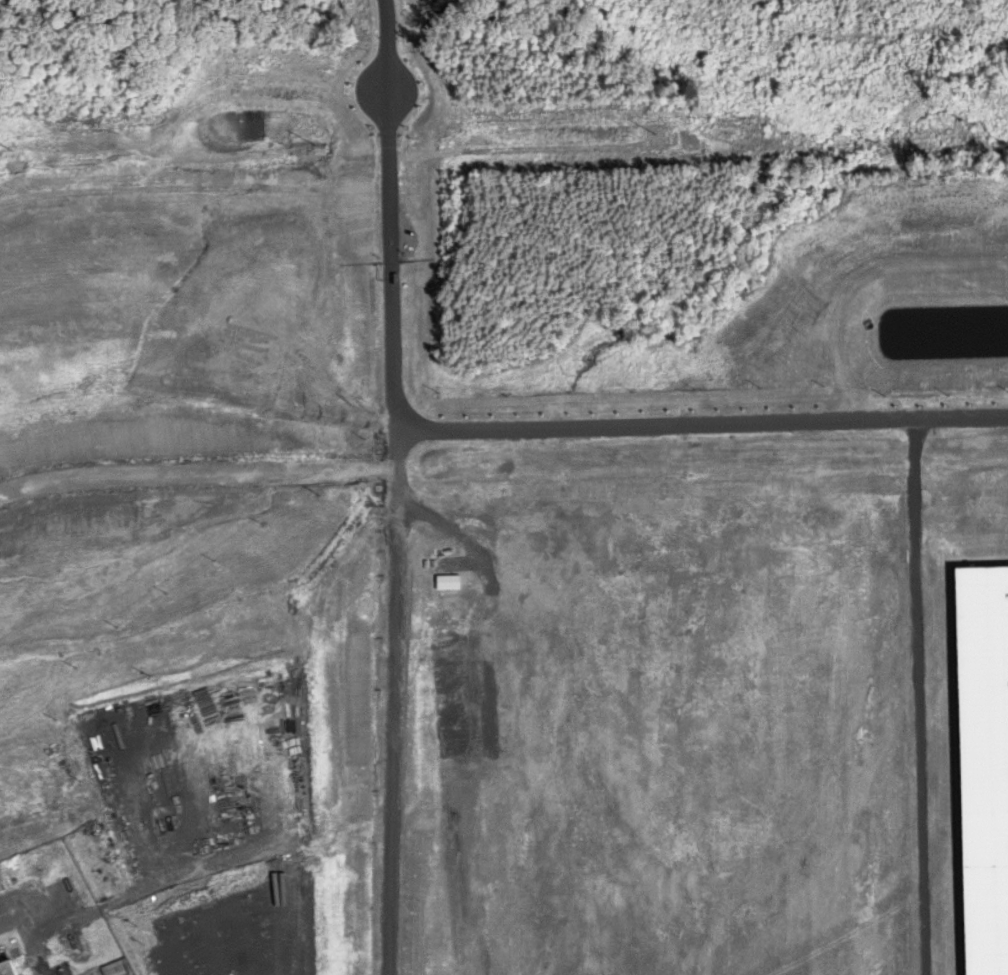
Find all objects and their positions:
road: (398, 72)
road: (397, 420)
road: (703, 424)
road: (141, 709)
road: (229, 741)
road: (204, 810)
road: (174, 878)
road: (242, 905)
road: (387, 908)
road: (248, 941)
road: (211, 946)
road: (24, 947)
building: (7, 968)

